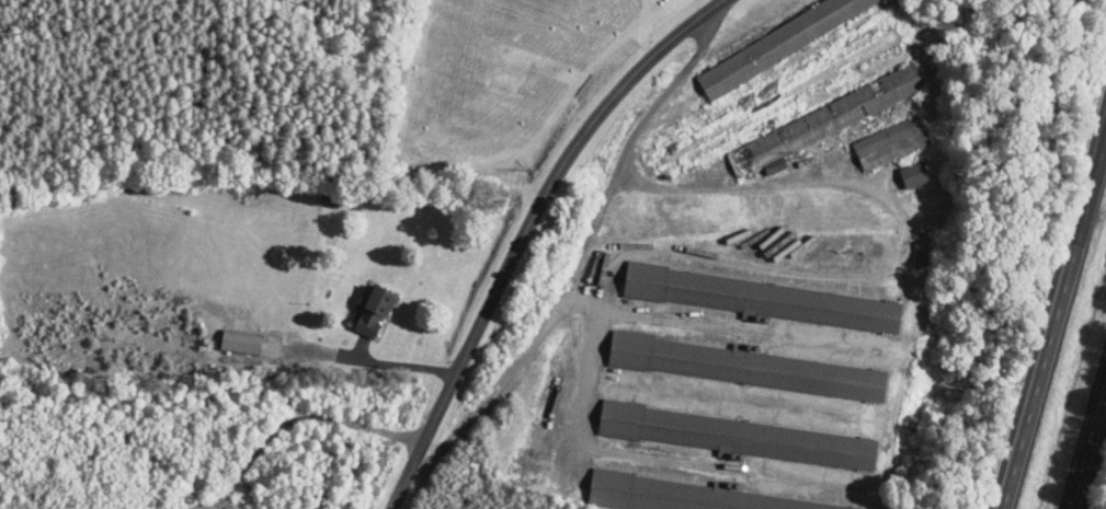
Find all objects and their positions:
building: (760, 38)
building: (803, 118)
building: (875, 137)
building: (674, 142)
building: (899, 169)
road: (526, 231)
building: (748, 292)
building: (356, 305)
road: (1056, 326)
building: (226, 335)
road: (250, 356)
building: (726, 360)
building: (726, 430)
road: (1091, 462)
building: (682, 491)

